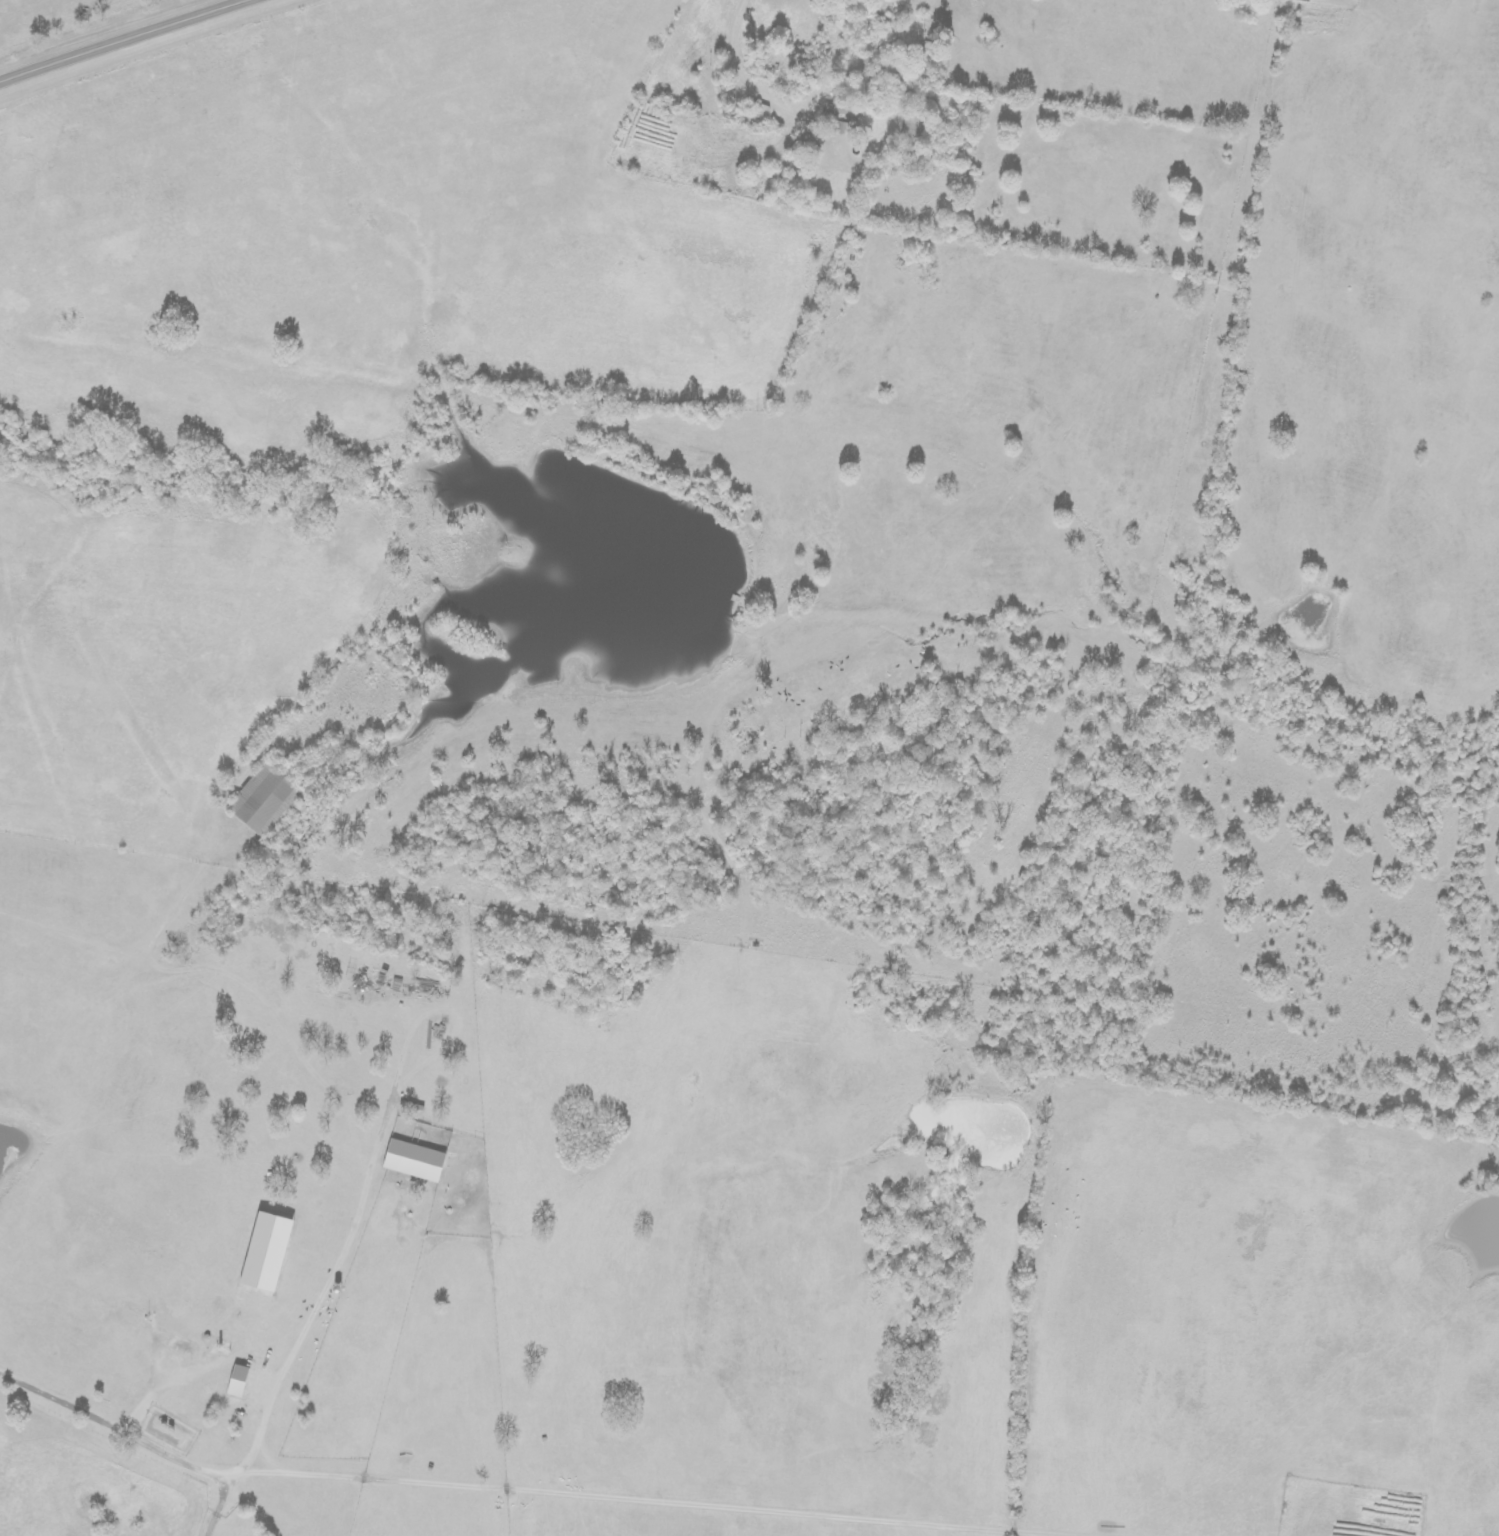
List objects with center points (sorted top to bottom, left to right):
road: (121, 39)
building: (259, 797)
building: (412, 1161)
building: (263, 1252)
building: (235, 1381)

